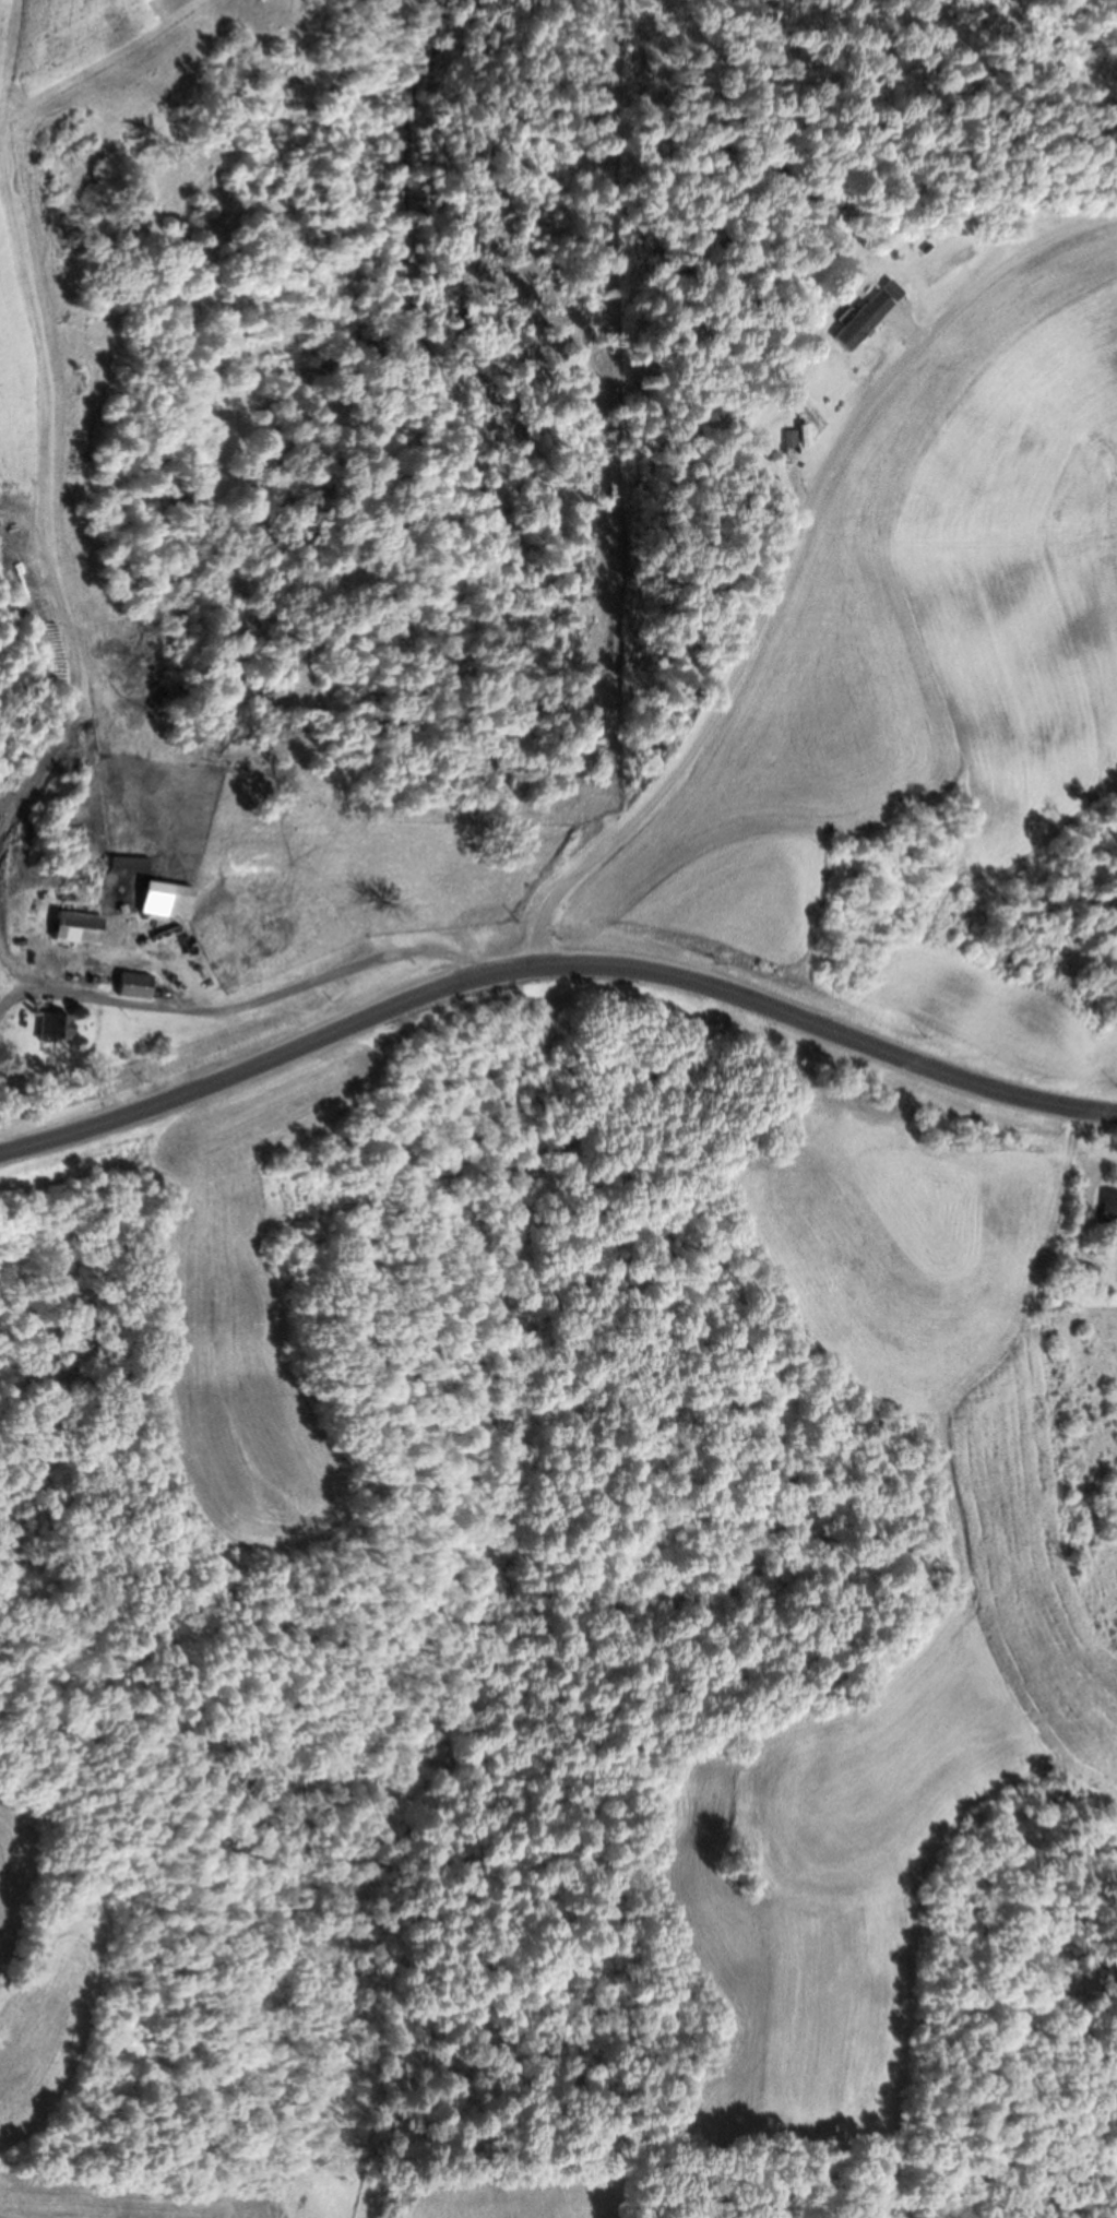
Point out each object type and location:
building: (860, 317)
building: (787, 439)
road: (782, 554)
building: (128, 863)
building: (161, 899)
building: (74, 927)
road: (552, 968)
building: (131, 985)
road: (245, 1003)
building: (49, 1028)
building: (1108, 1212)
building: (1084, 1273)

